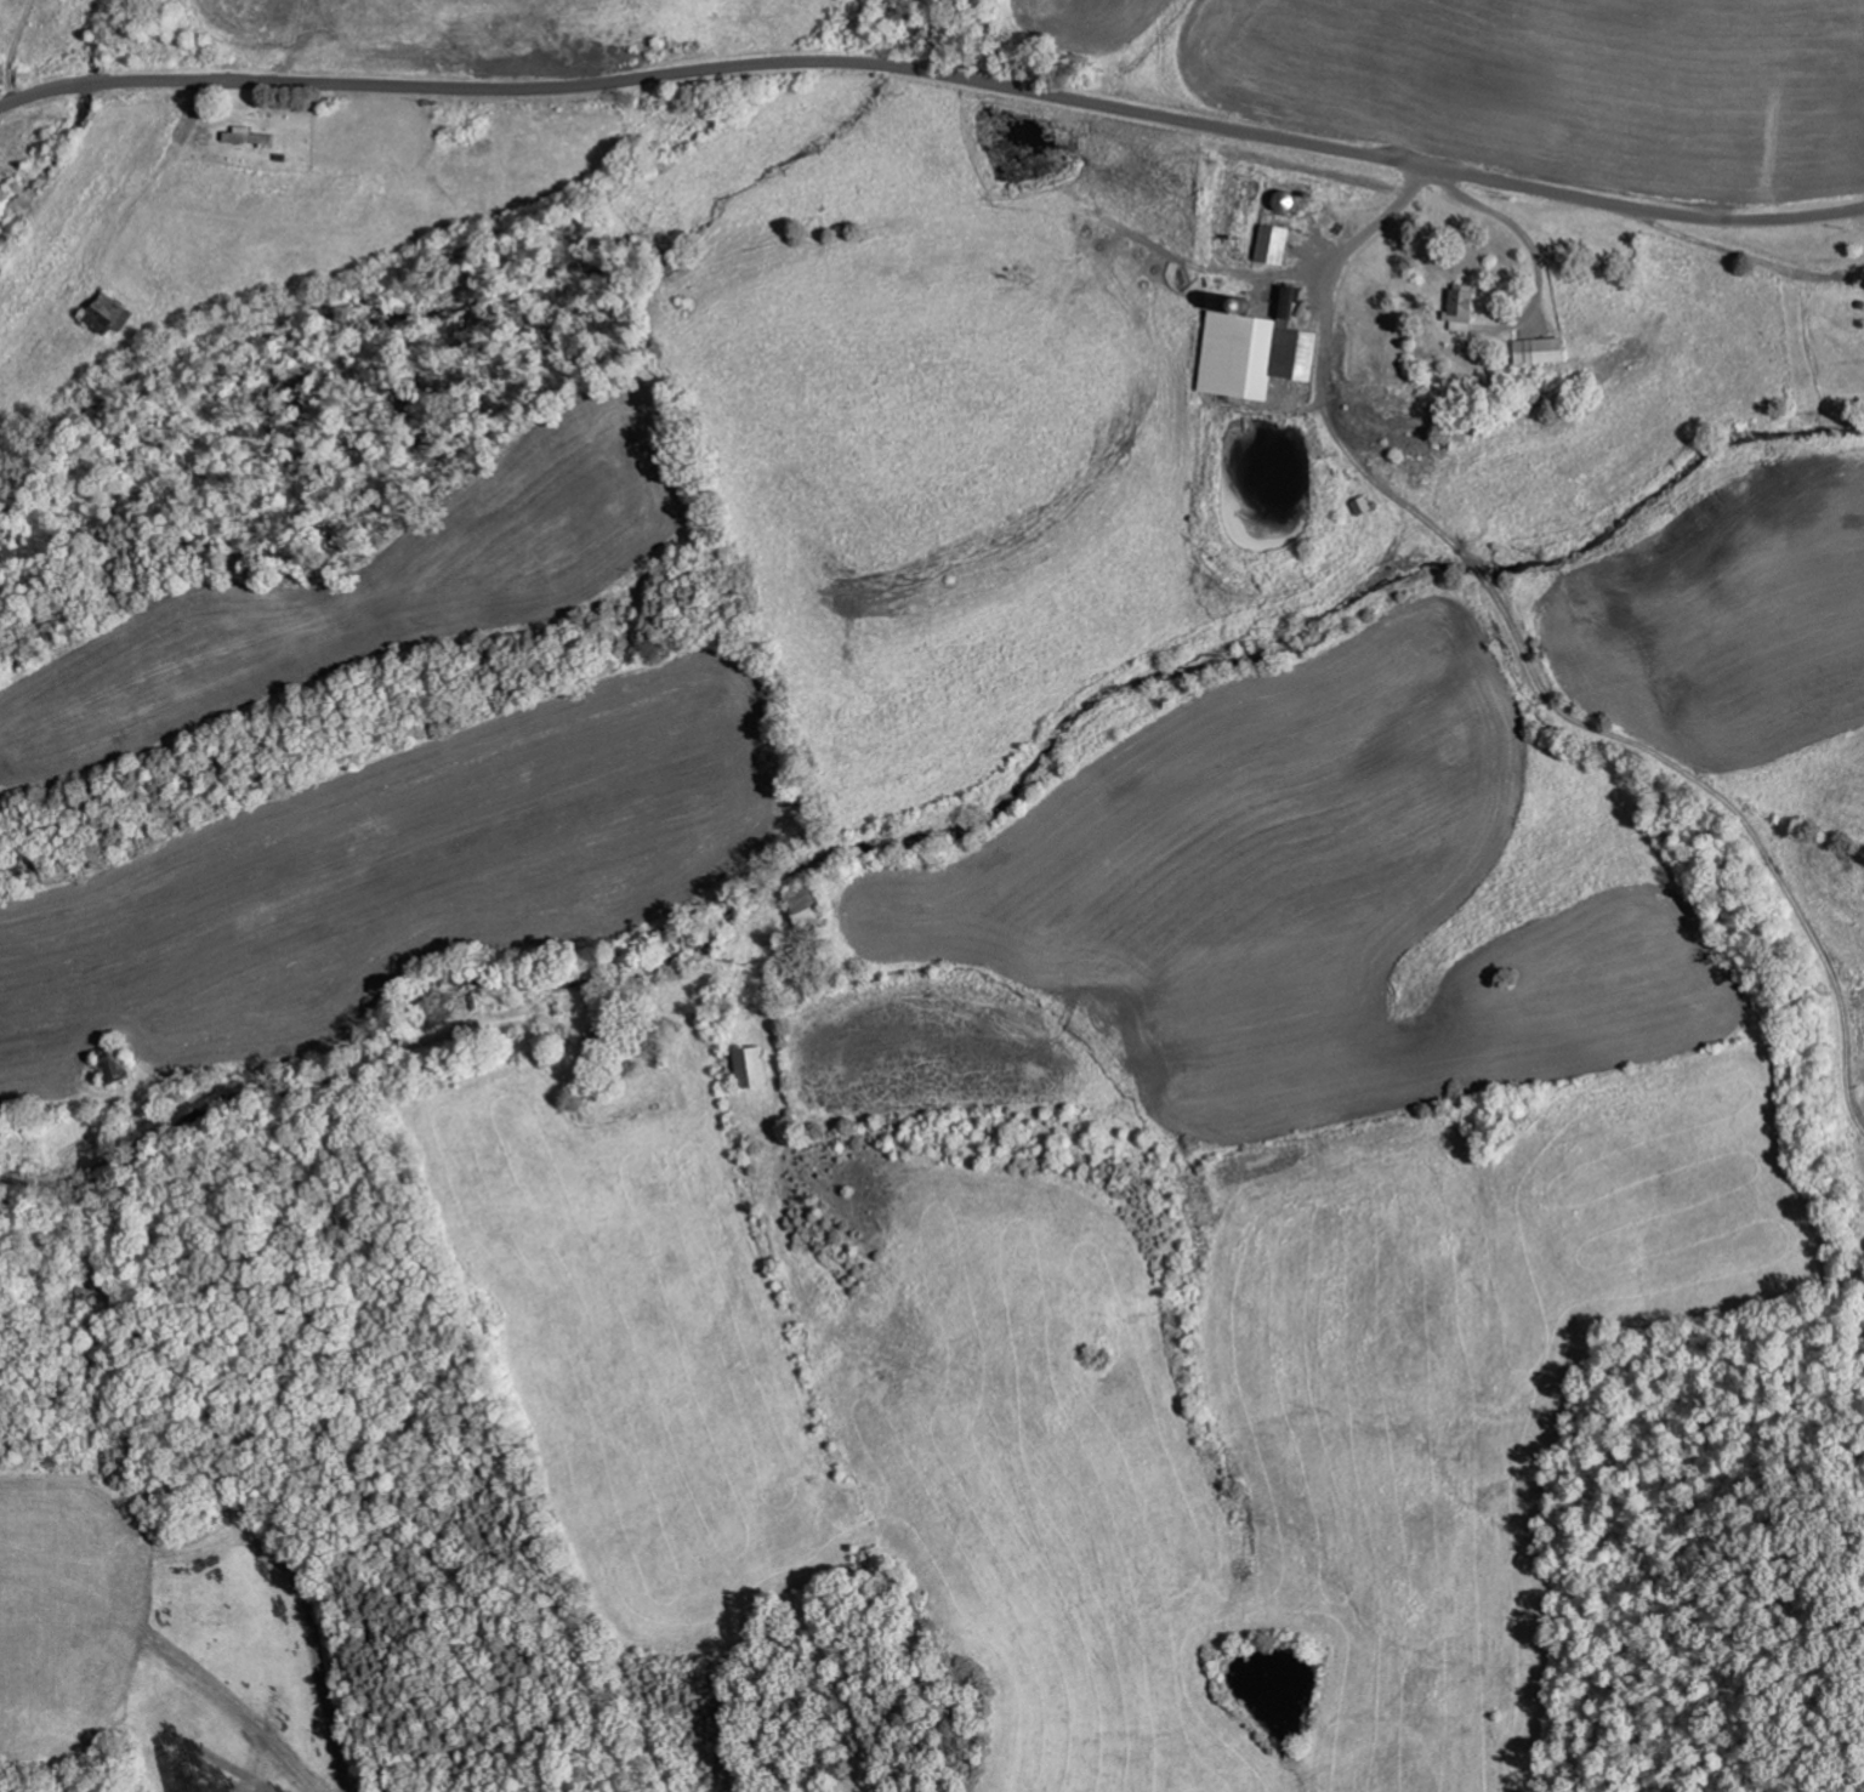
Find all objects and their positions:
road: (936, 74)
building: (240, 135)
building: (1268, 244)
building: (1451, 309)
building: (104, 312)
building: (1530, 349)
building: (1250, 351)
building: (744, 1064)
road: (238, 1085)

